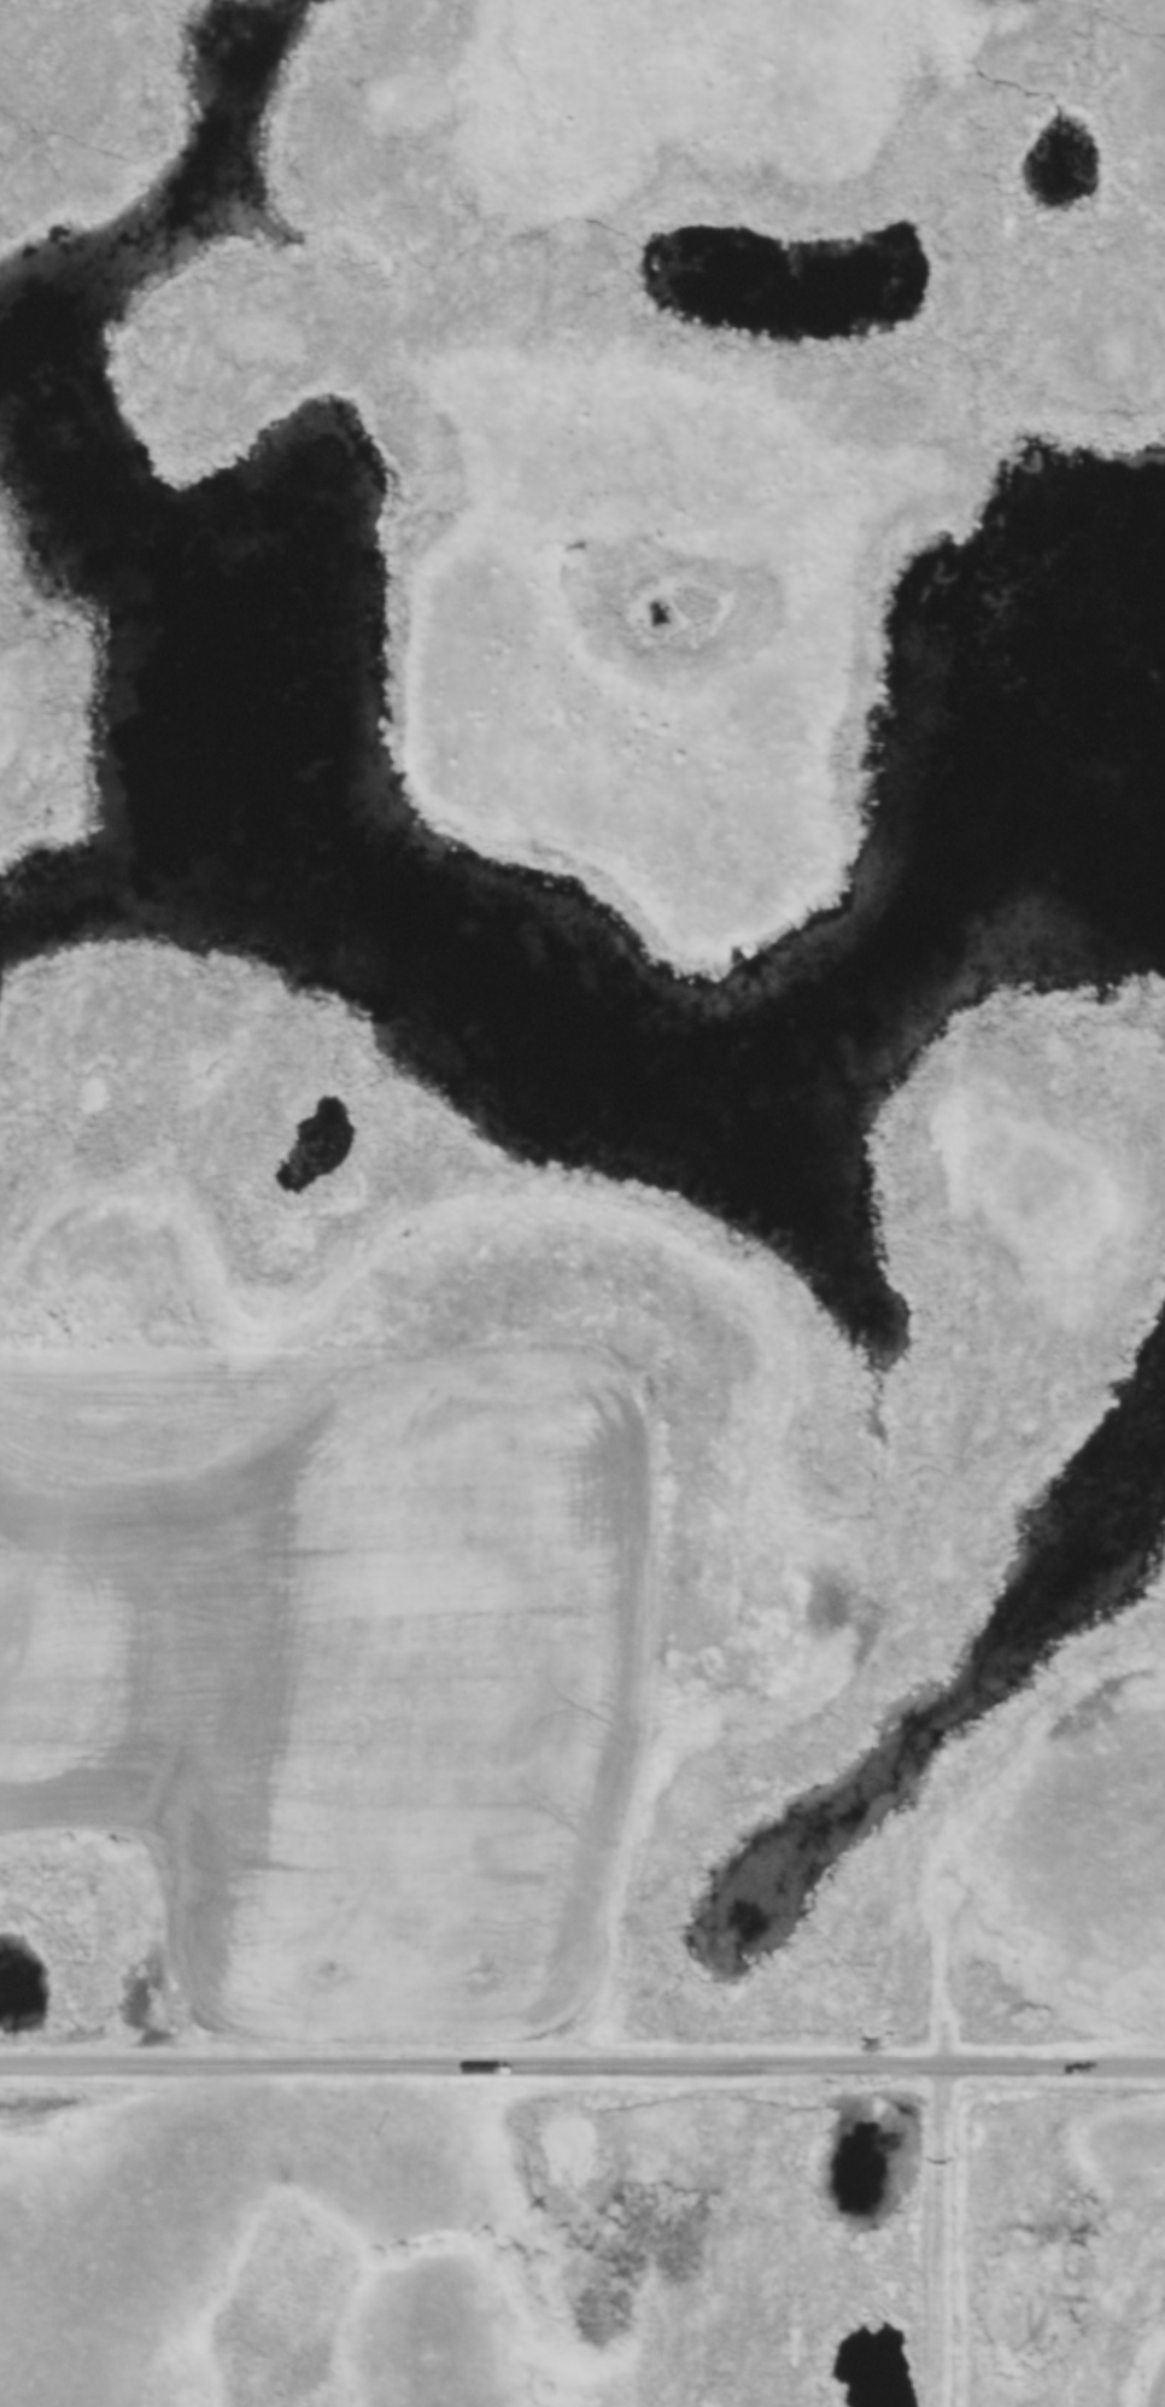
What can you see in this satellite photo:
road: (581, 2068)
road: (936, 2238)

